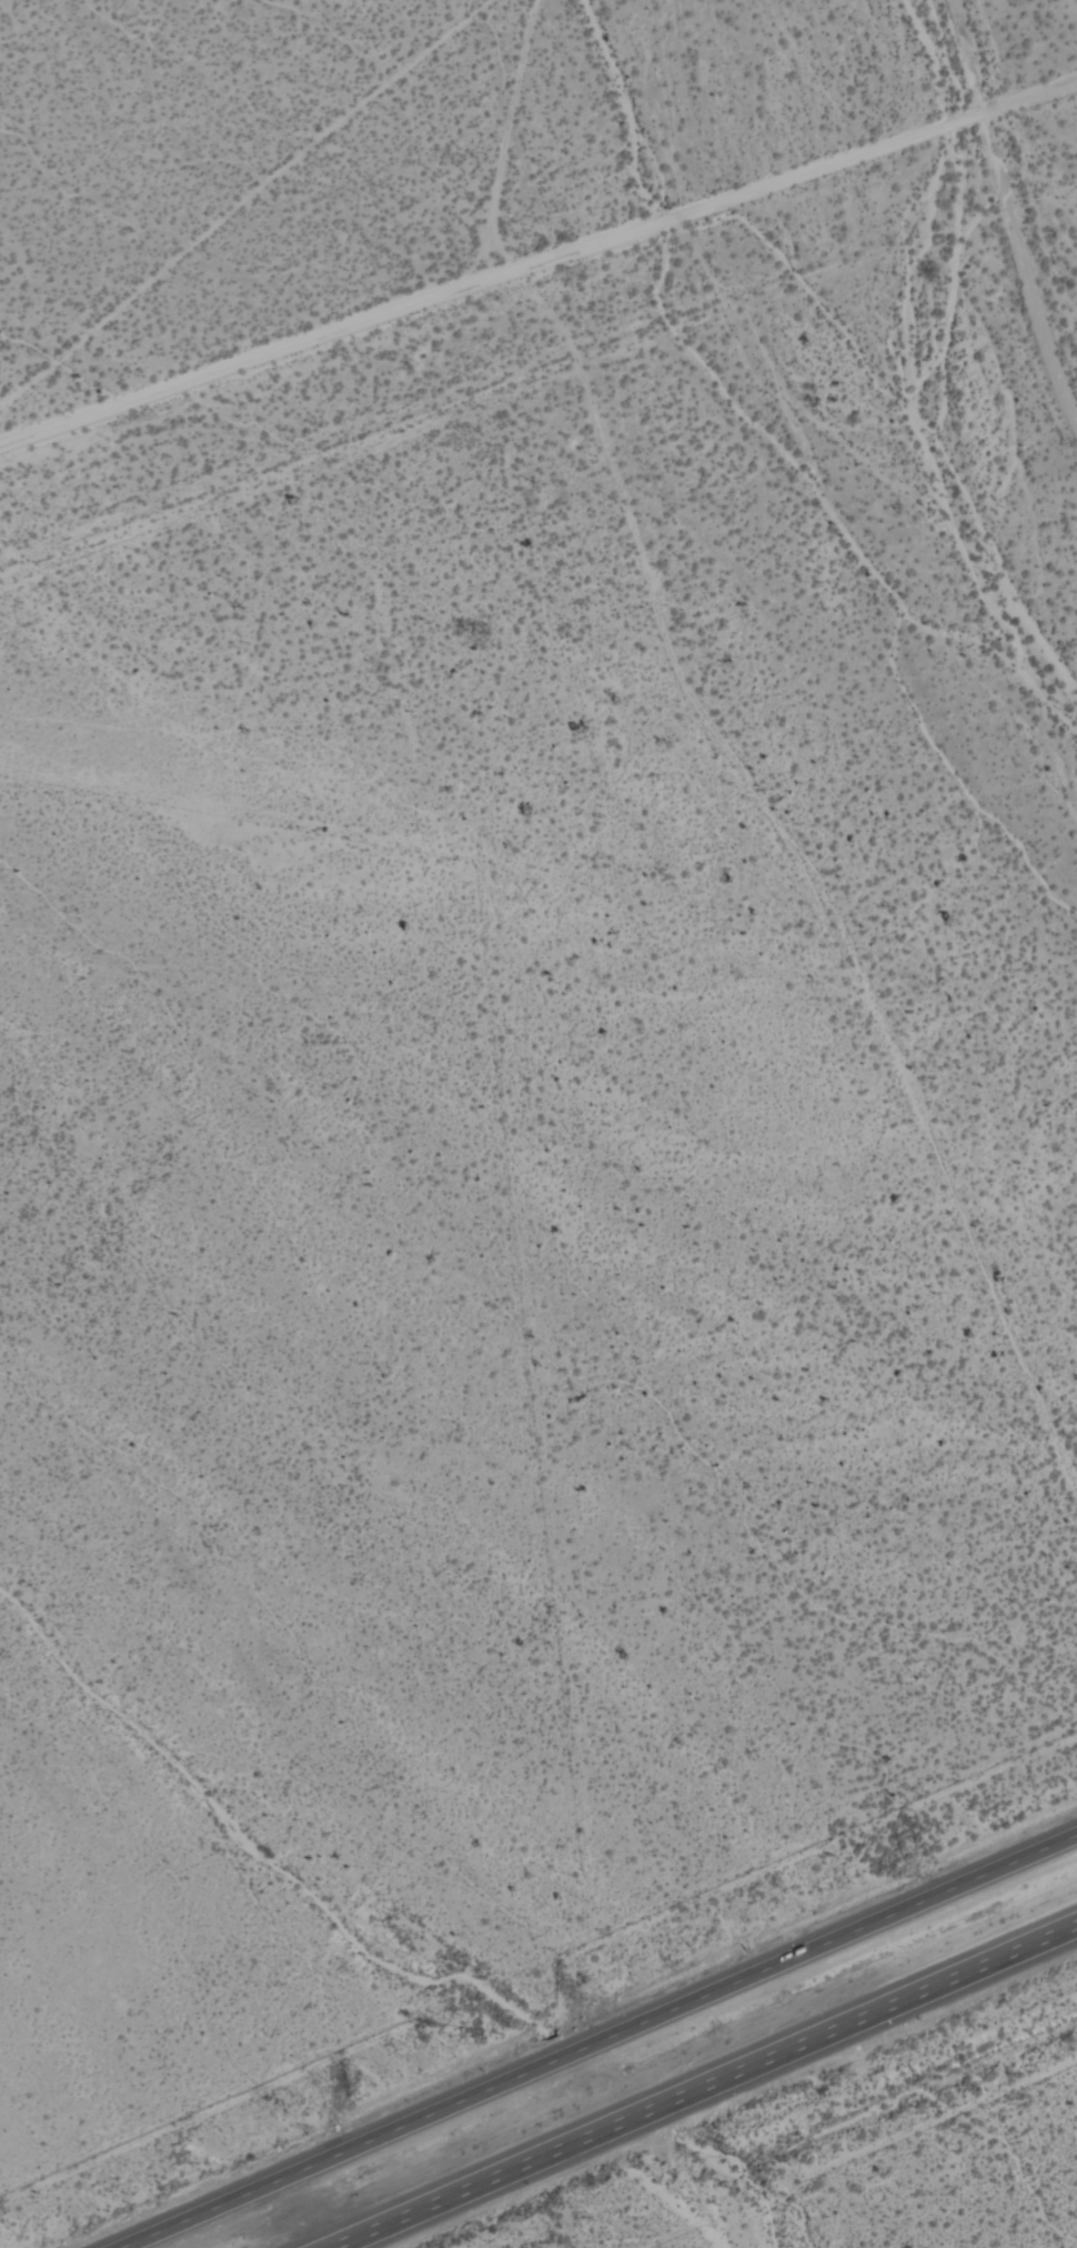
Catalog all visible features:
road: (537, 262)
road: (992, 269)
road: (598, 2040)
railway: (653, 2064)
road: (702, 2084)

